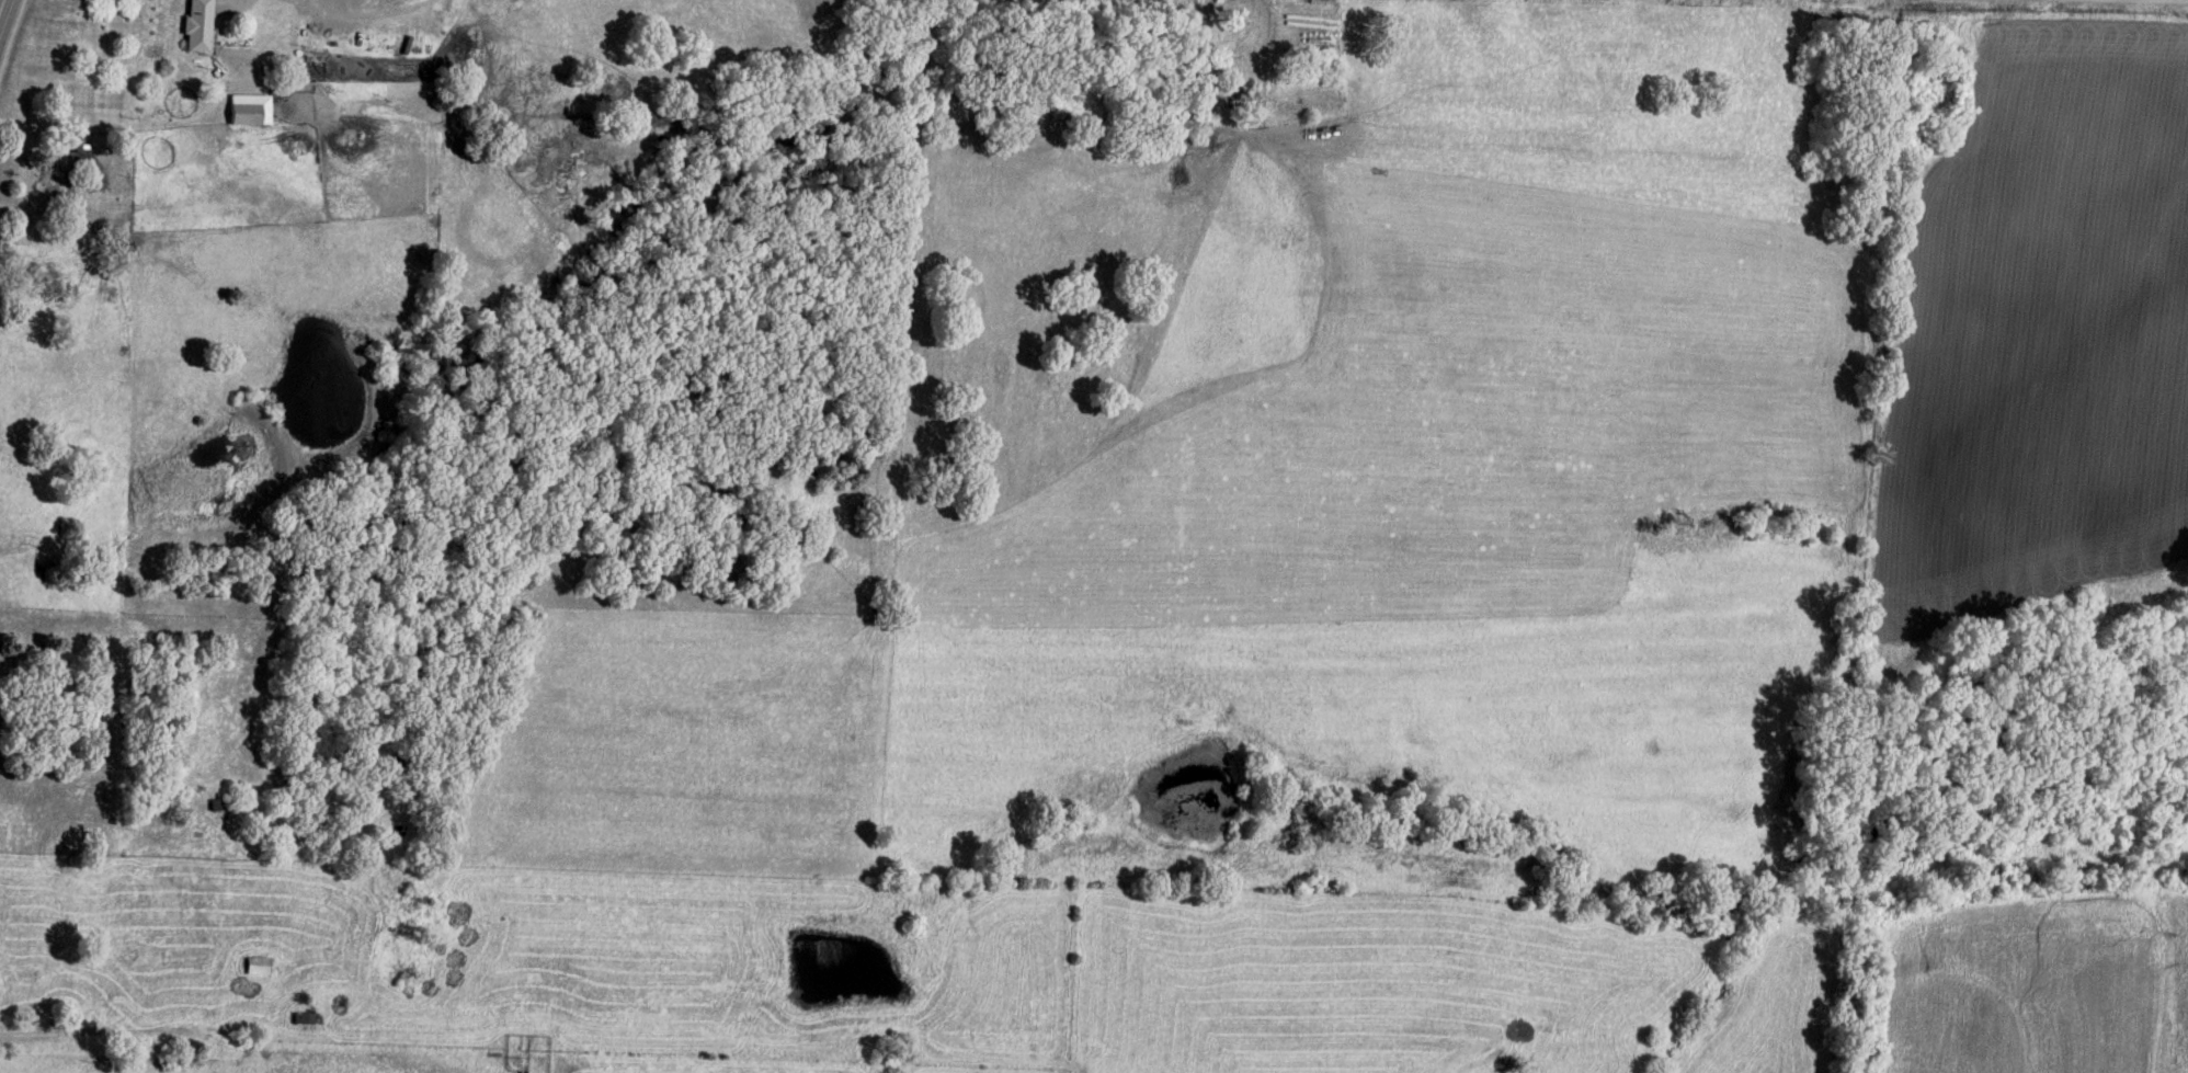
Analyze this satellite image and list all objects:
road: (5, 14)
building: (196, 24)
building: (249, 105)
road: (121, 1028)

